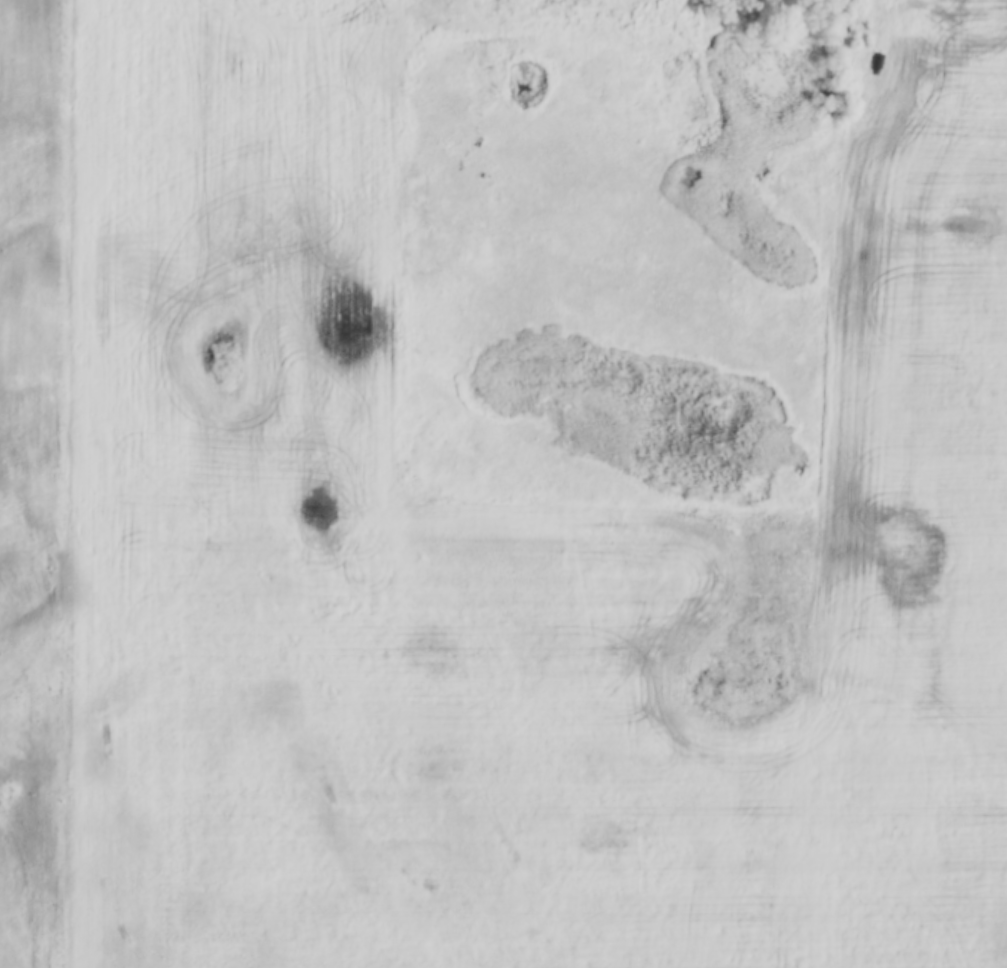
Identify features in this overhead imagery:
road: (28, 888)

